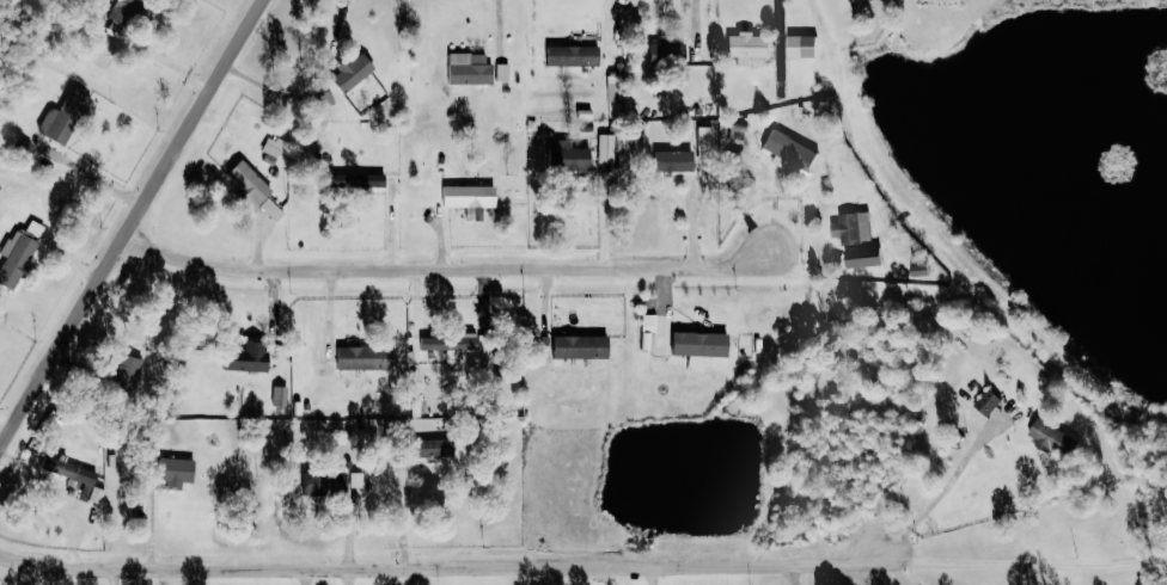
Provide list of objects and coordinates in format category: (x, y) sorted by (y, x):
building: (747, 47)
building: (801, 47)
building: (574, 55)
building: (470, 68)
building: (353, 72)
building: (505, 72)
building: (329, 99)
building: (66, 117)
building: (276, 146)
building: (610, 148)
building: (790, 149)
building: (569, 156)
building: (674, 161)
road: (102, 178)
building: (250, 181)
building: (358, 183)
building: (469, 196)
building: (275, 210)
building: (854, 227)
road: (134, 229)
building: (19, 254)
building: (921, 270)
road: (450, 271)
building: (656, 334)
building: (699, 344)
building: (580, 347)
building: (246, 357)
building: (464, 357)
building: (365, 358)
building: (126, 374)
building: (282, 396)
building: (989, 402)
building: (421, 407)
road: (10, 418)
building: (1055, 438)
building: (434, 448)
building: (176, 472)
building: (326, 484)
road: (1026, 564)
road: (902, 567)
road: (444, 568)

